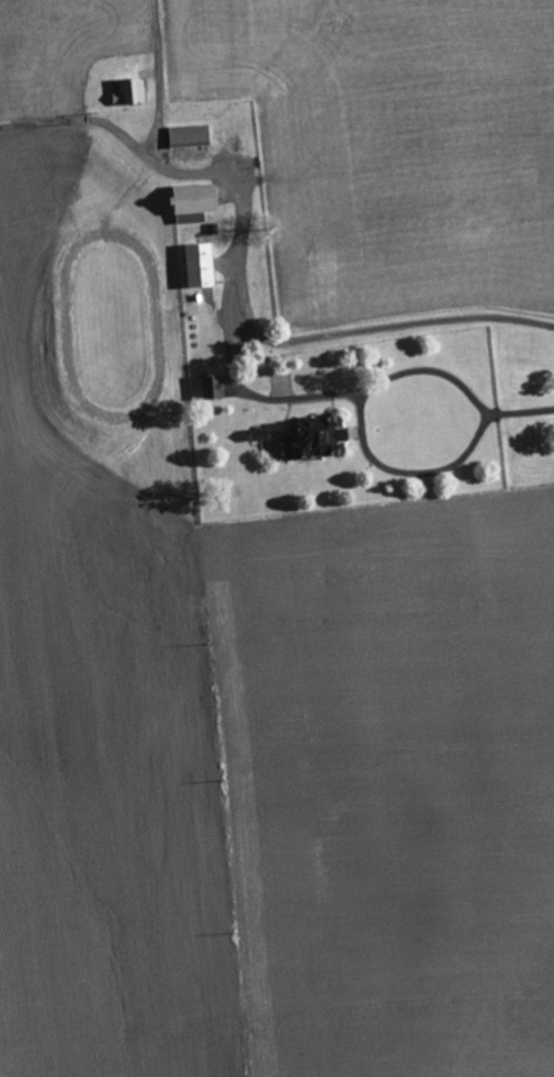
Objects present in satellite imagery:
road: (158, 79)
building: (129, 92)
building: (189, 136)
building: (192, 202)
building: (200, 266)
road: (238, 282)
road: (397, 376)
building: (213, 387)
road: (410, 470)

